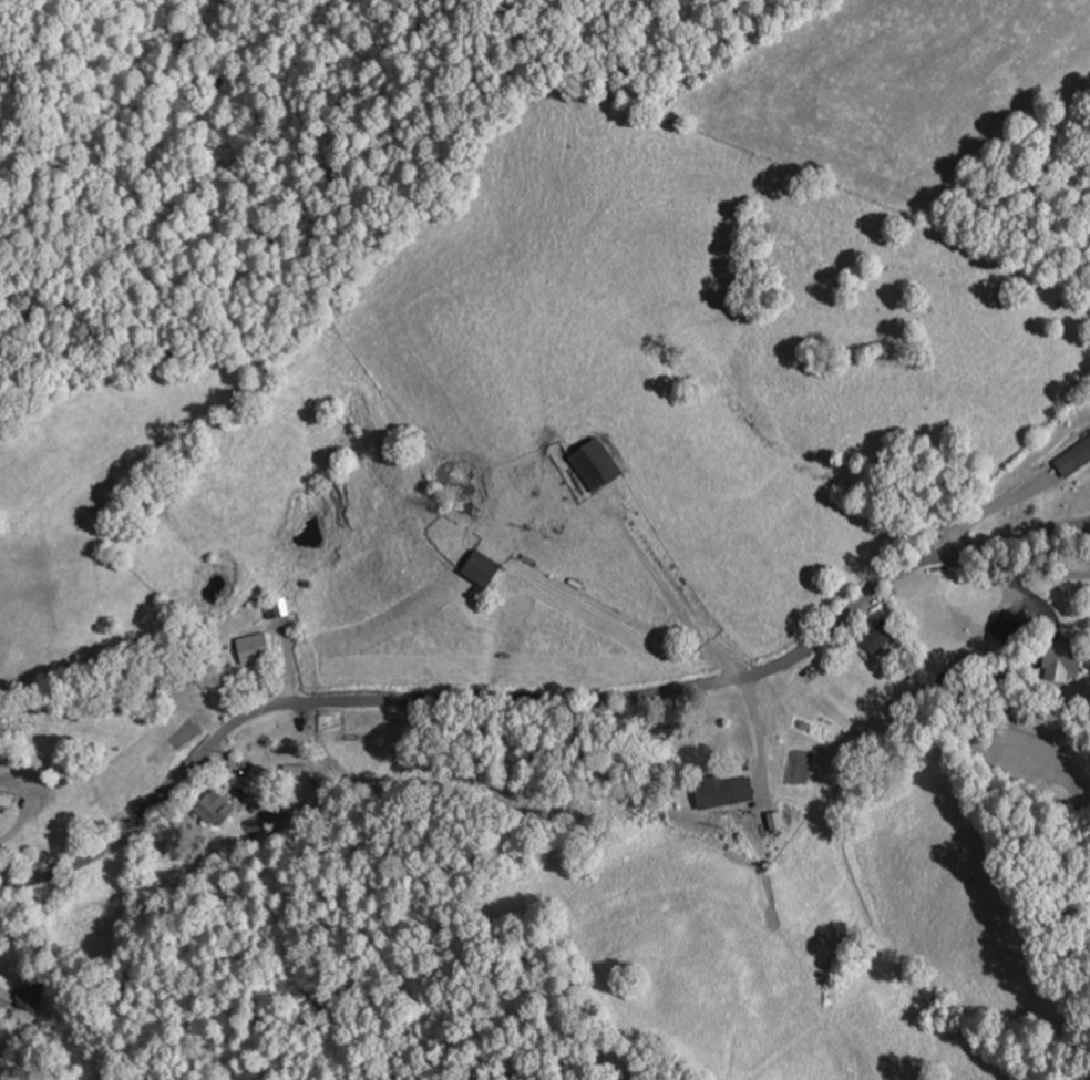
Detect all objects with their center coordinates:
building: (1076, 459)
building: (599, 464)
building: (533, 466)
building: (485, 568)
building: (281, 607)
building: (1009, 627)
building: (882, 635)
building: (256, 647)
building: (1063, 661)
road: (726, 664)
road: (536, 700)
building: (726, 790)
building: (7, 800)
building: (216, 809)
road: (442, 883)
building: (34, 992)

